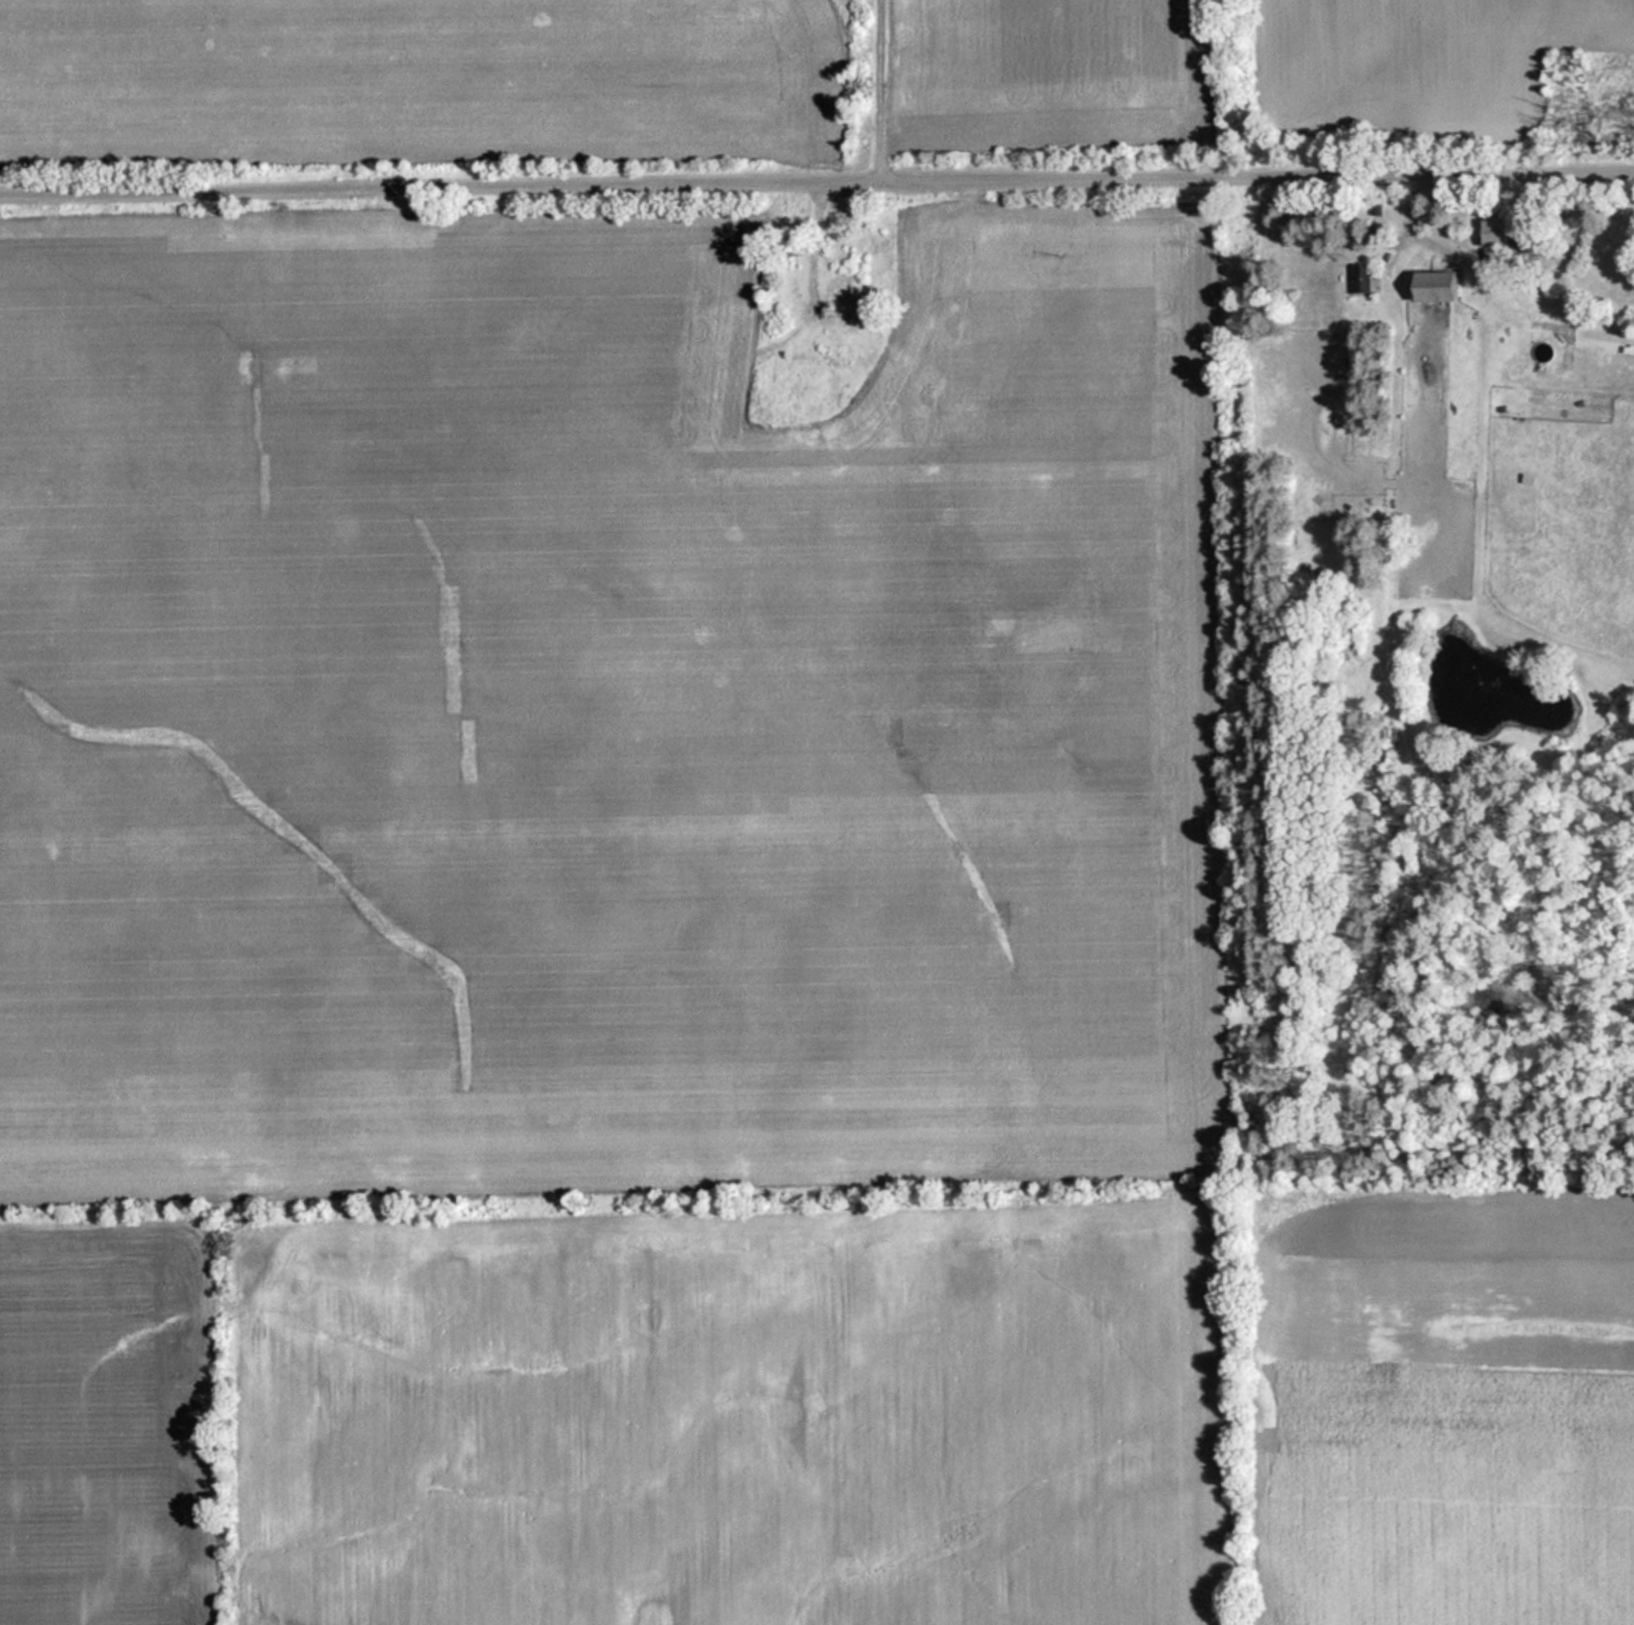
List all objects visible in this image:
road: (816, 194)
building: (1520, 231)
building: (1450, 286)

